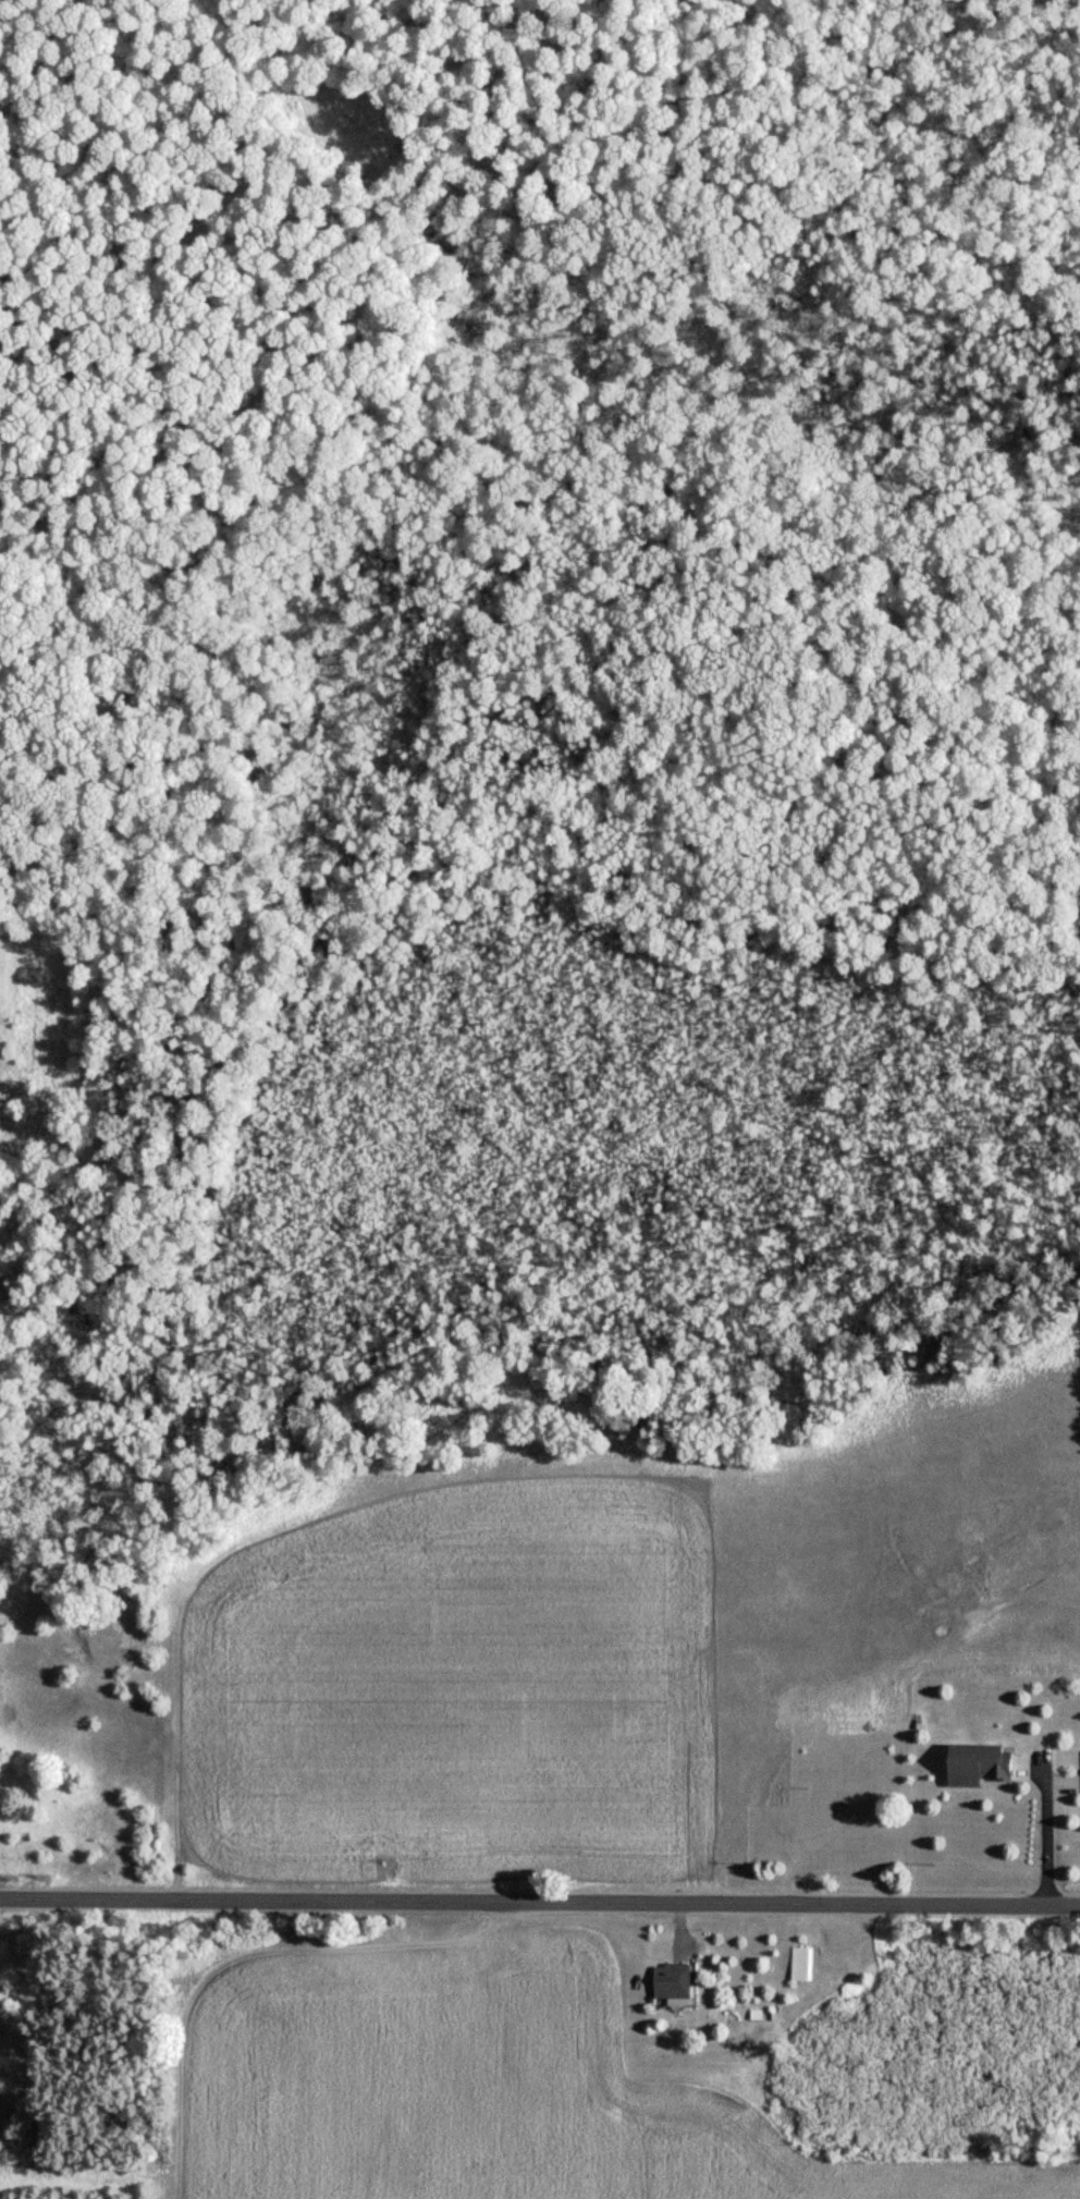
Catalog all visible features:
building: (981, 1764)
road: (540, 1902)
building: (802, 1964)
building: (674, 1982)

